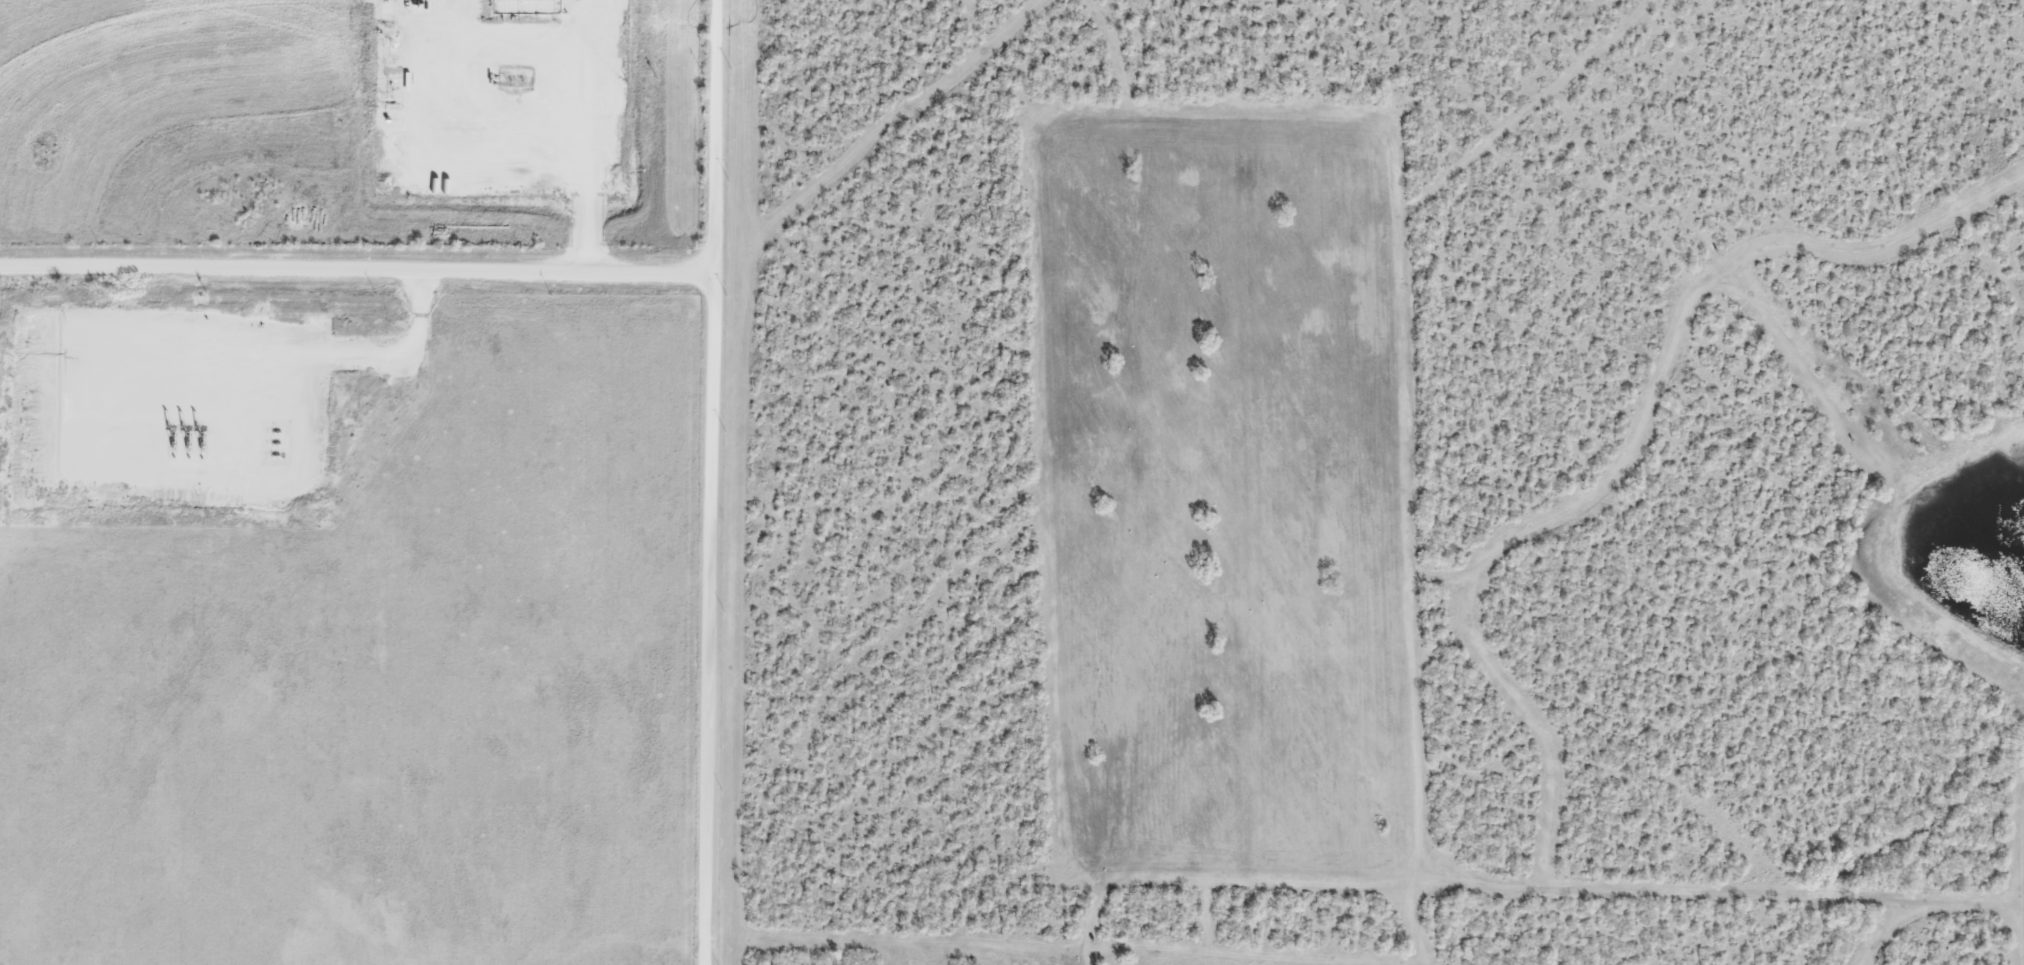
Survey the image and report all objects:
road: (362, 269)
road: (718, 482)

